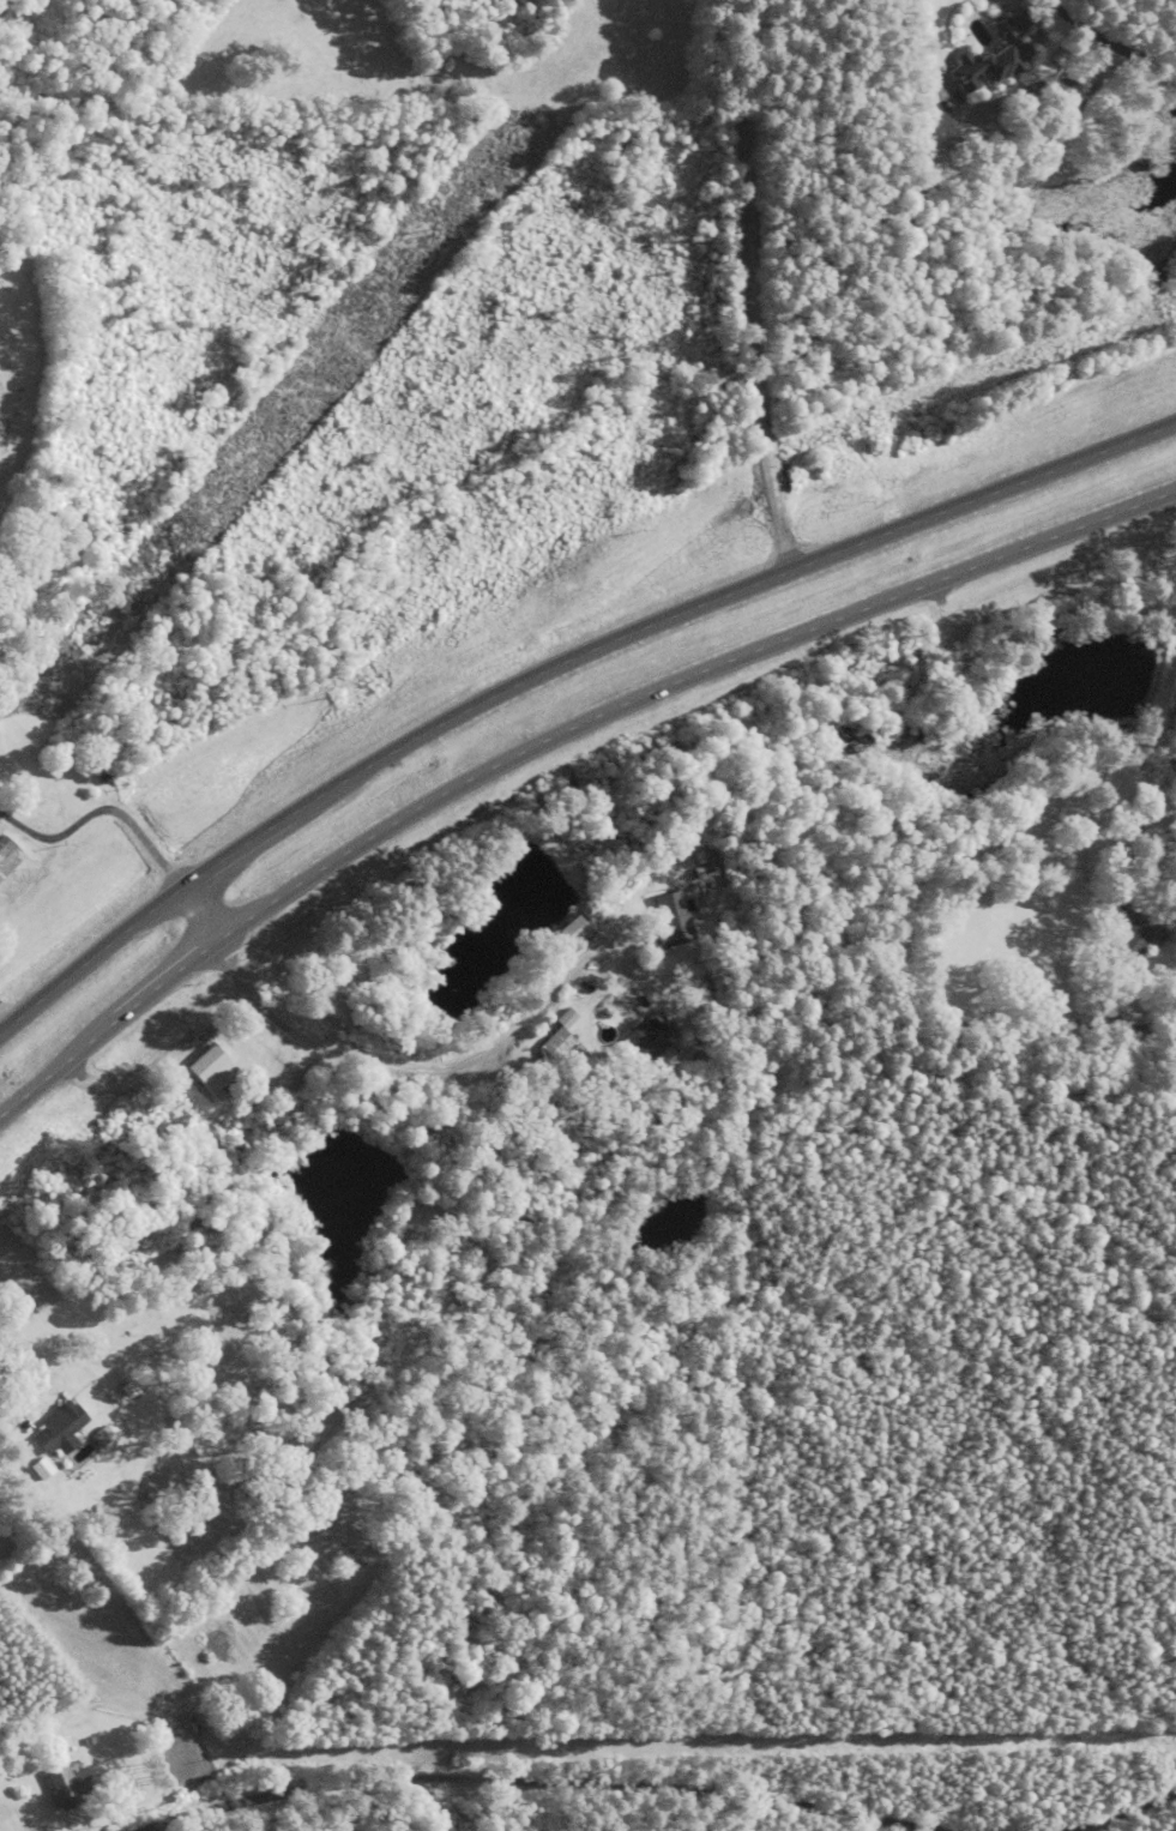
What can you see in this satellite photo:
road: (1108, 41)
building: (999, 58)
road: (741, 287)
road: (554, 663)
road: (1151, 713)
road: (551, 737)
building: (8, 859)
road: (197, 909)
building: (675, 927)
building: (1138, 940)
building: (1129, 1017)
building: (649, 1042)
building: (561, 1048)
building: (218, 1068)
road: (396, 1073)
building: (61, 1431)
building: (11, 1751)
building: (180, 1770)
road: (499, 1781)
building: (70, 1790)
road: (1121, 1809)
building: (4, 1815)

